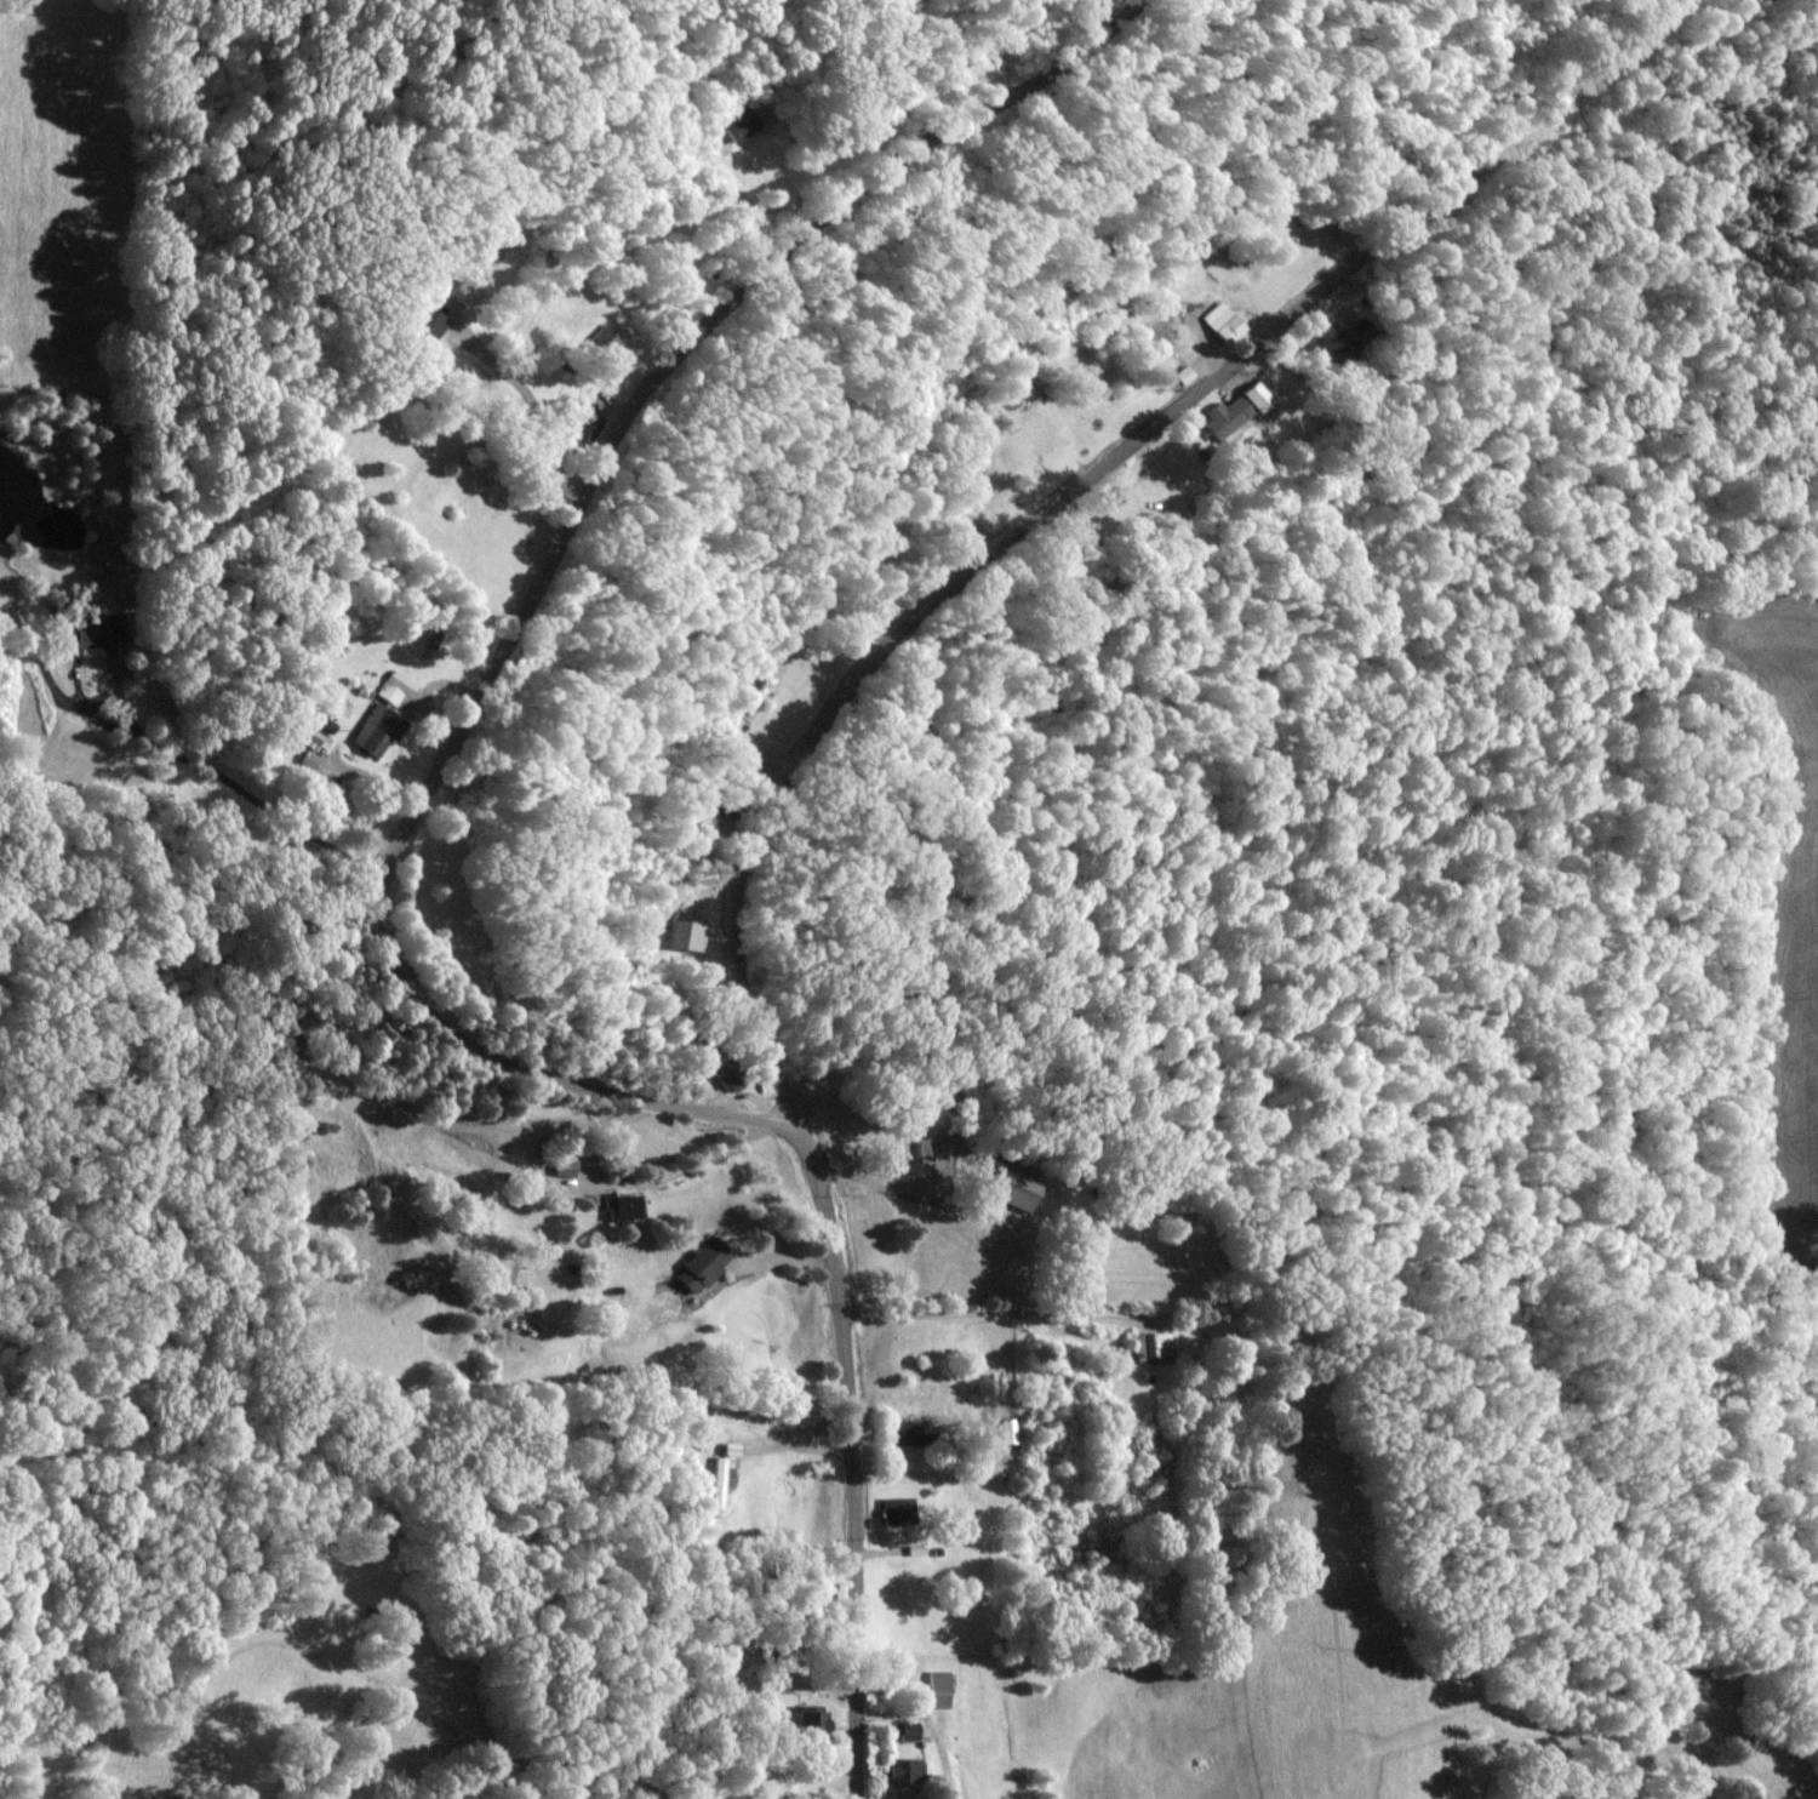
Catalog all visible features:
building: (742, 126)
building: (468, 286)
building: (1223, 321)
building: (605, 337)
building: (1344, 337)
road: (675, 358)
building: (1236, 410)
building: (588, 427)
building: (1176, 479)
road: (1070, 492)
building: (96, 629)
building: (367, 736)
road: (241, 782)
building: (728, 1073)
road: (616, 1092)
building: (932, 1147)
building: (567, 1165)
building: (458, 1169)
building: (1023, 1194)
building: (624, 1207)
building: (705, 1266)
road: (968, 1315)
building: (1155, 1343)
building: (807, 1409)
building: (916, 1433)
building: (899, 1508)
road: (854, 1552)
building: (938, 1689)
building: (907, 1731)
building: (907, 1770)

